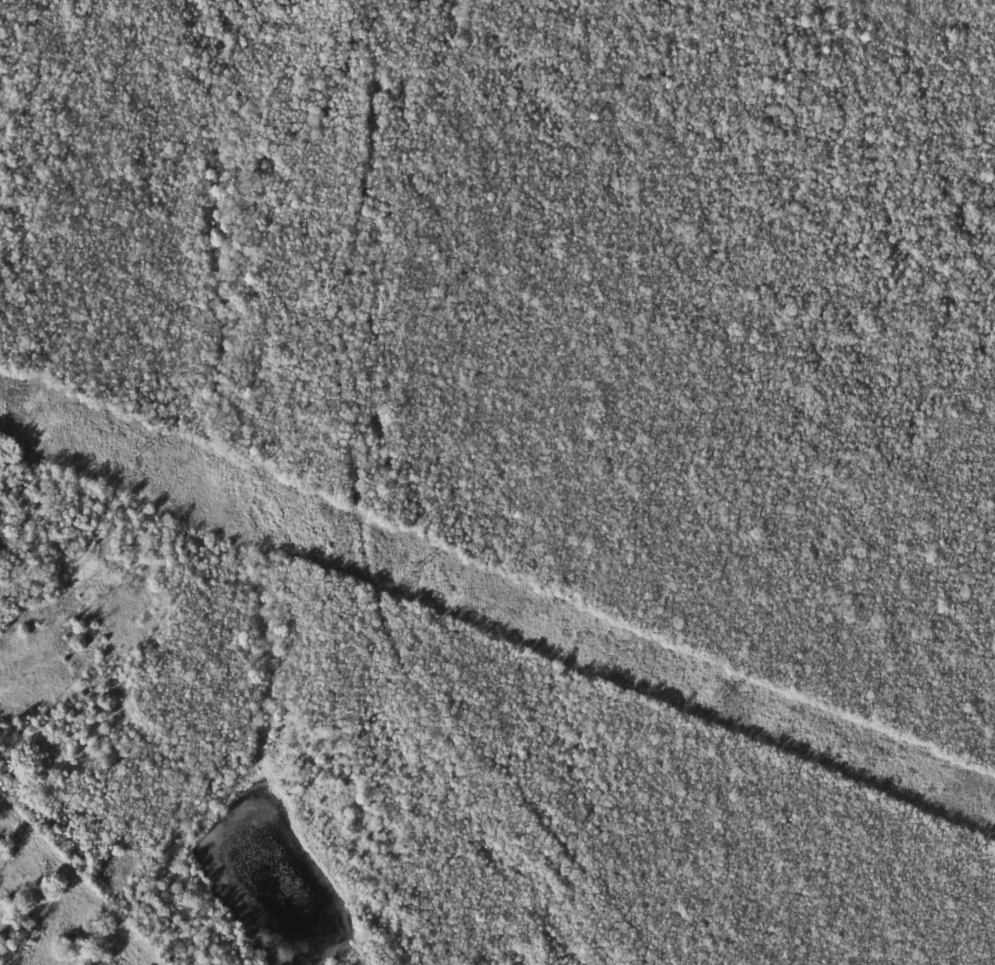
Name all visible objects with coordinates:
power tower: (133, 455)
power tower: (417, 573)
power tower: (719, 698)

